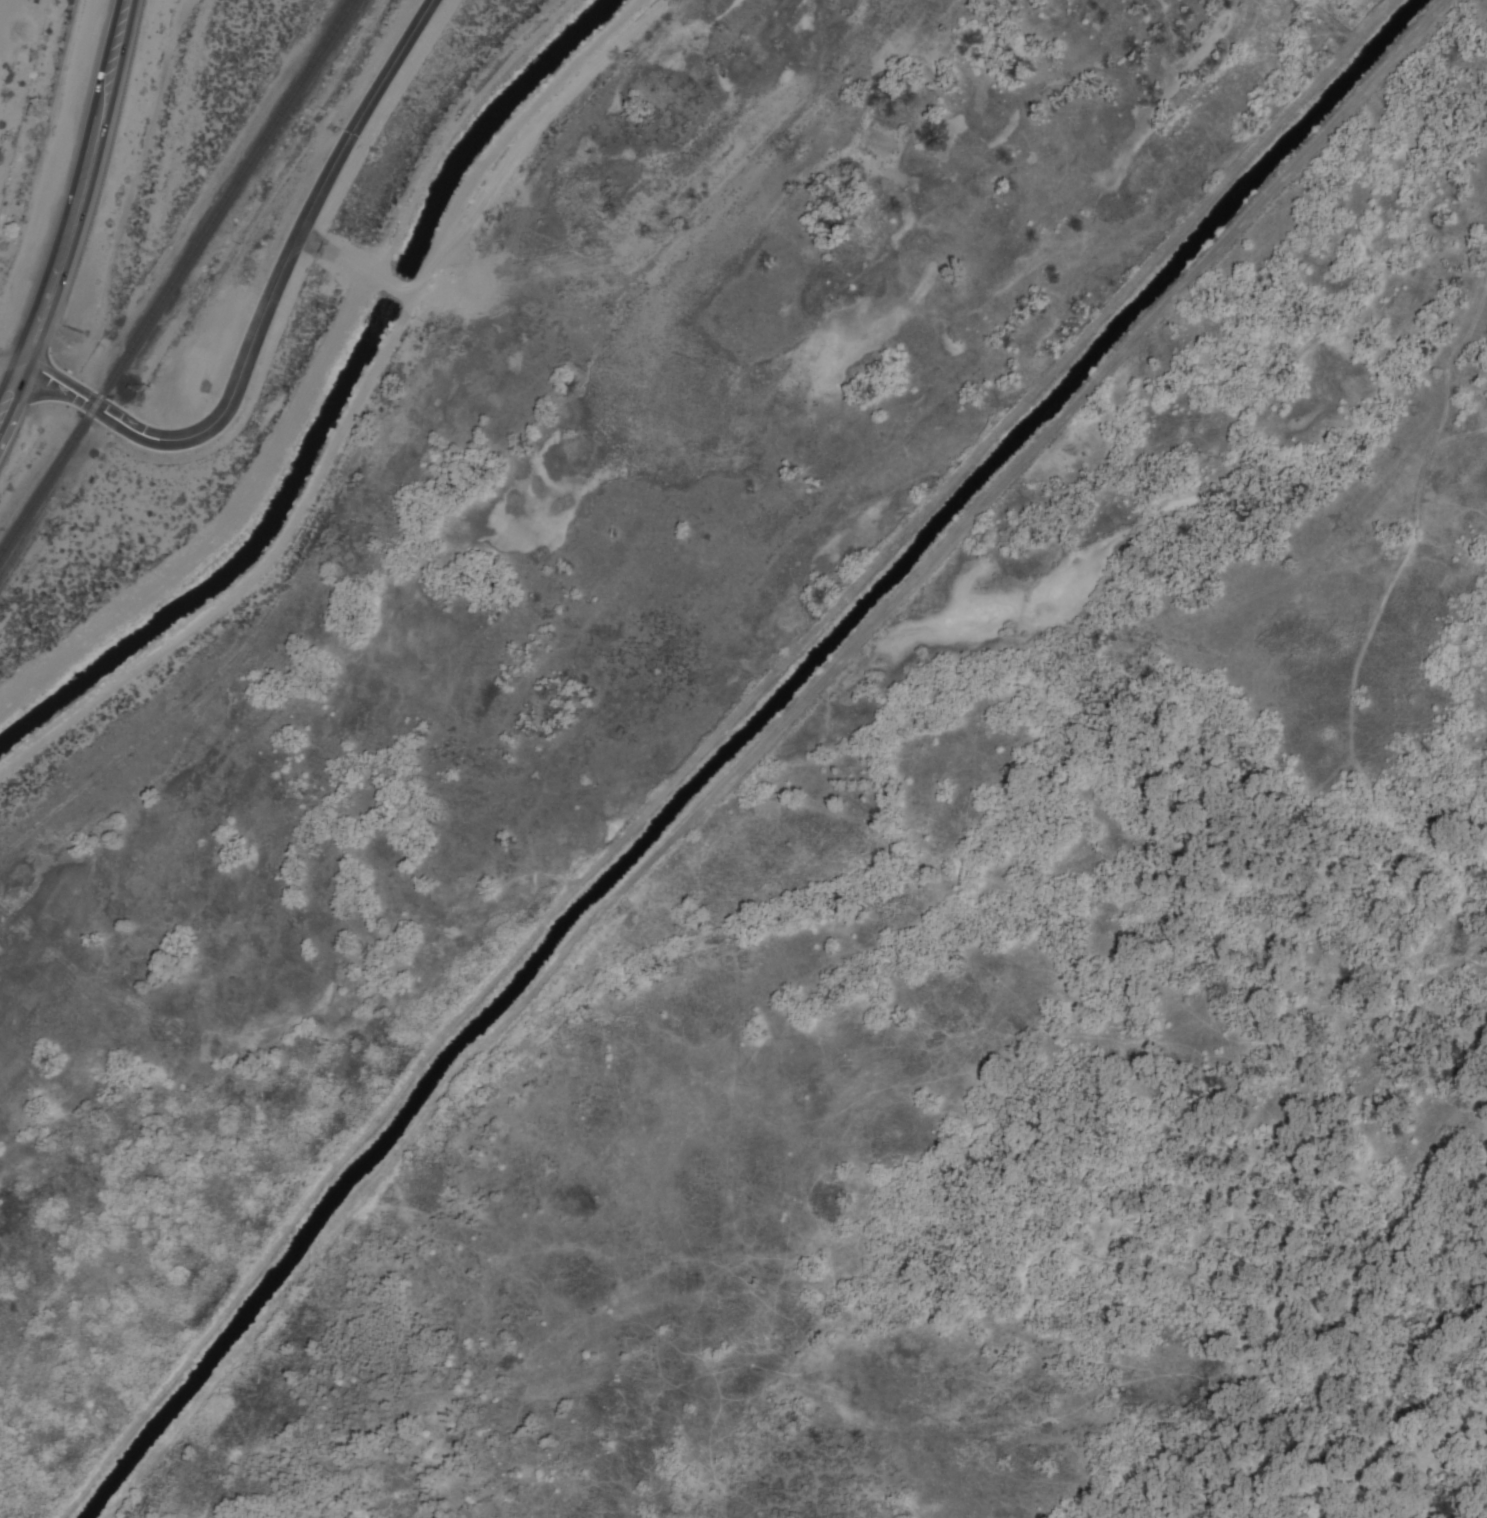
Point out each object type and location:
road: (79, 206)
railway: (176, 277)
road: (267, 304)
road: (11, 362)

